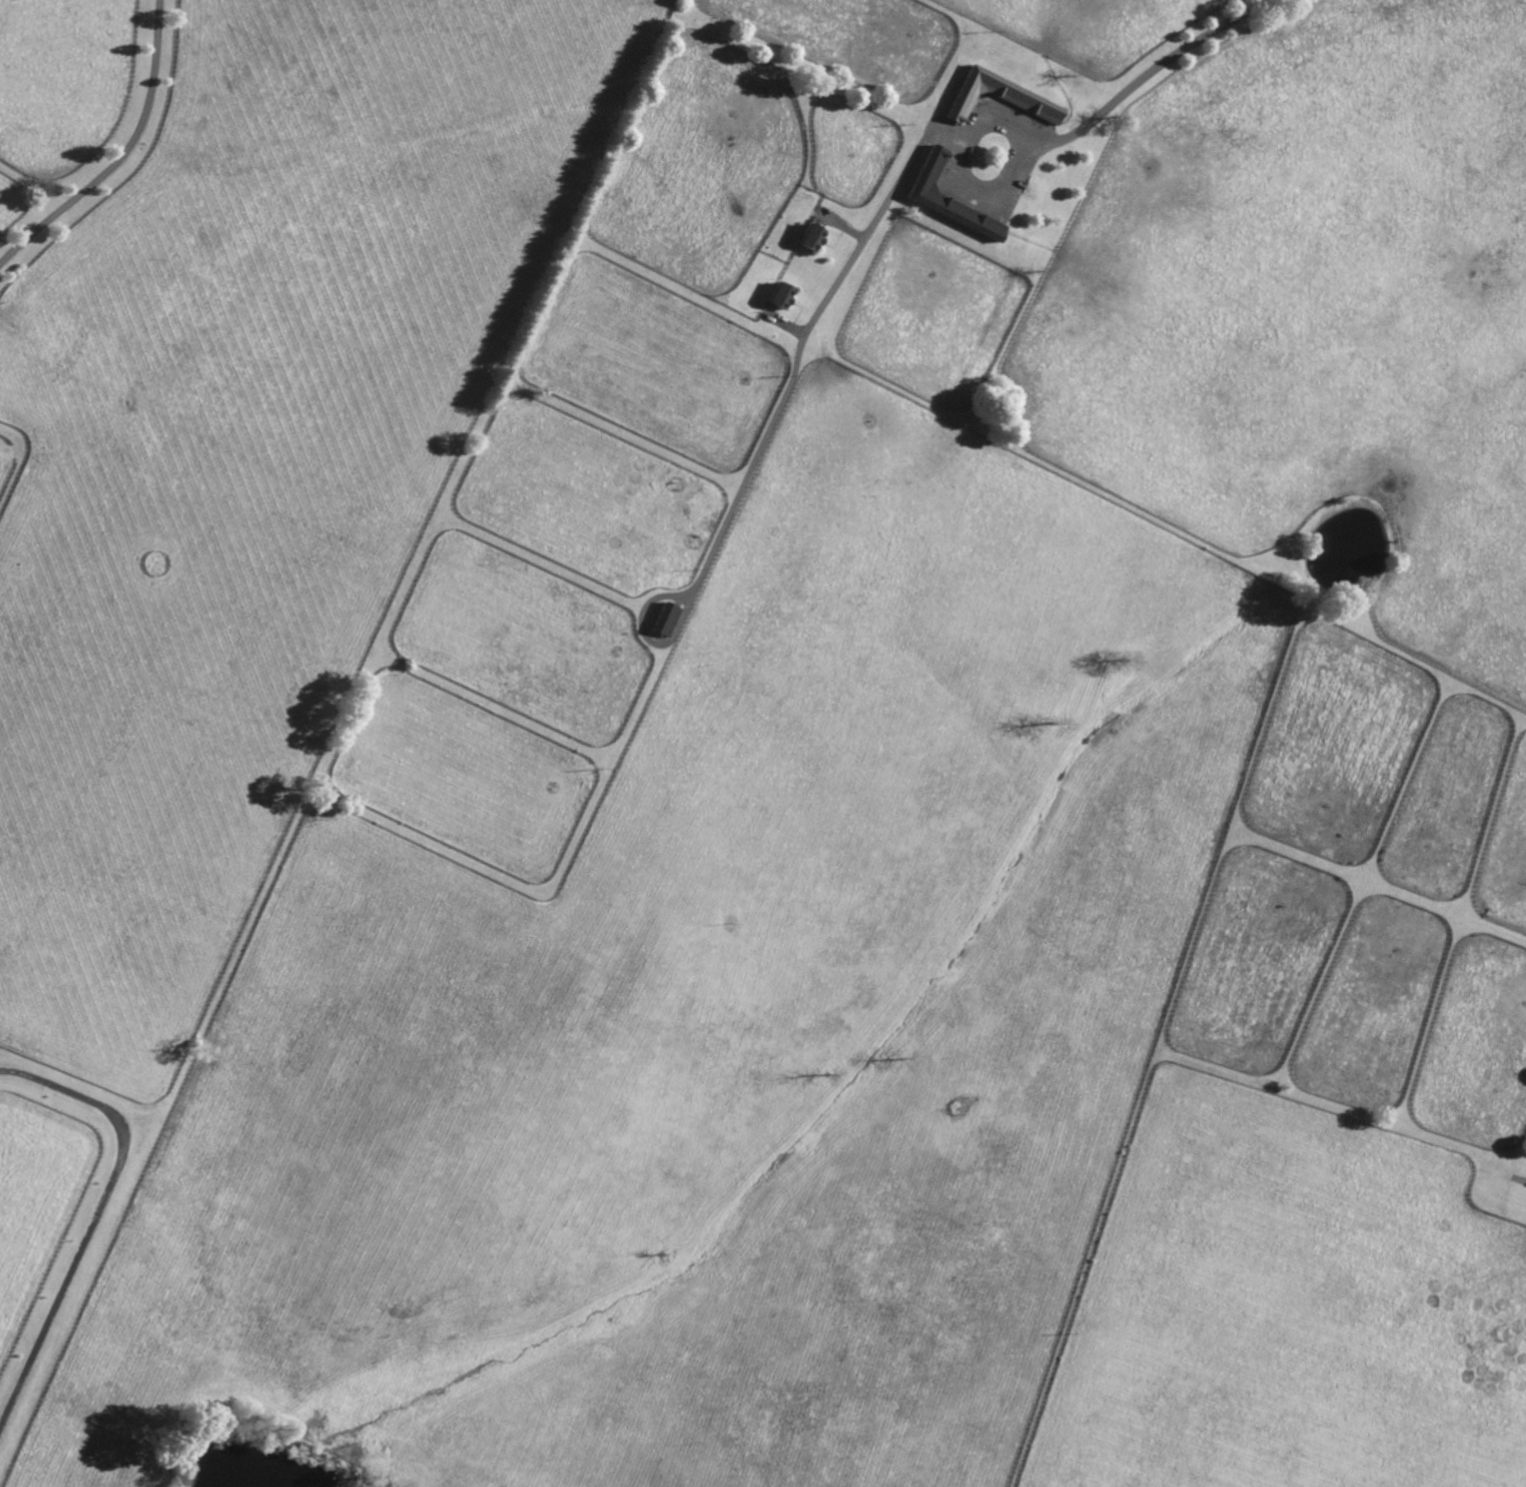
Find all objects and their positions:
road: (1153, 75)
building: (999, 94)
building: (989, 154)
road: (123, 157)
building: (949, 197)
silo: (1472, 201)
building: (812, 235)
building: (780, 295)
building: (749, 310)
building: (666, 618)
road: (97, 1215)

